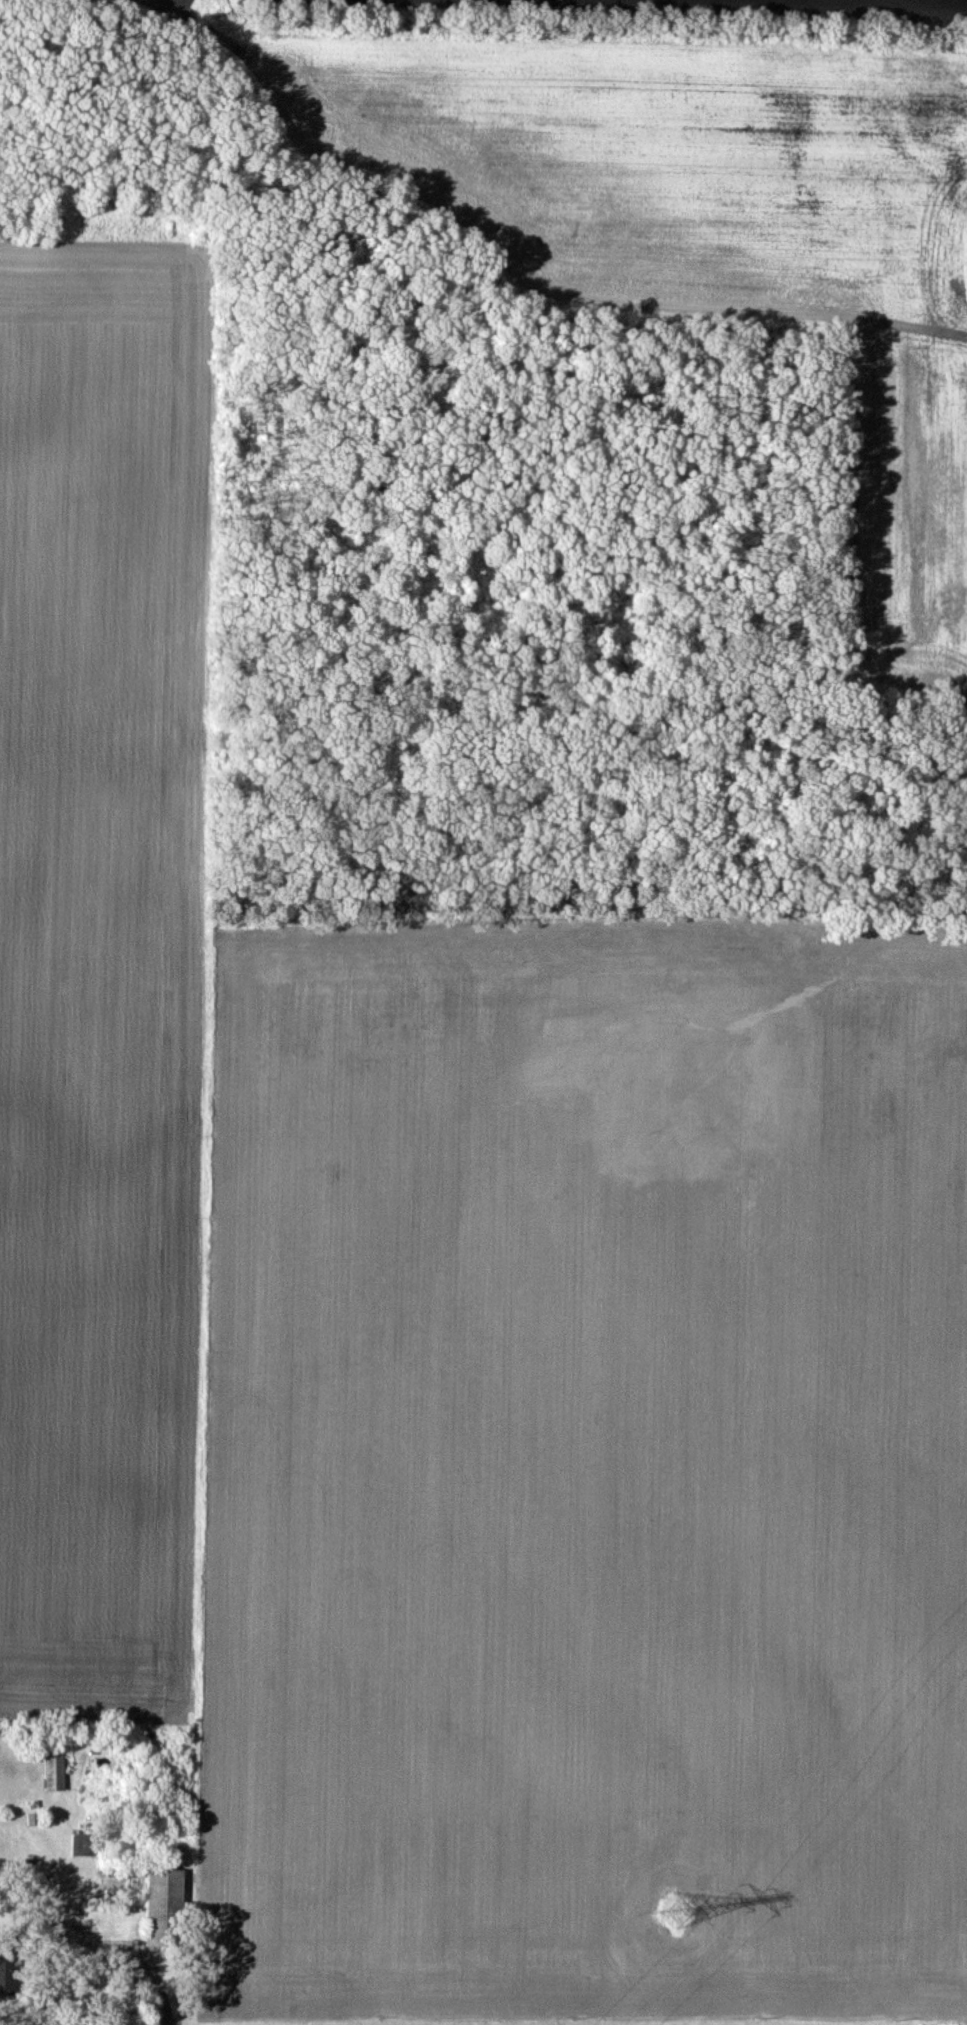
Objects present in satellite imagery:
building: (52, 1771)
building: (80, 1844)
building: (161, 1907)
power tower: (670, 1912)

